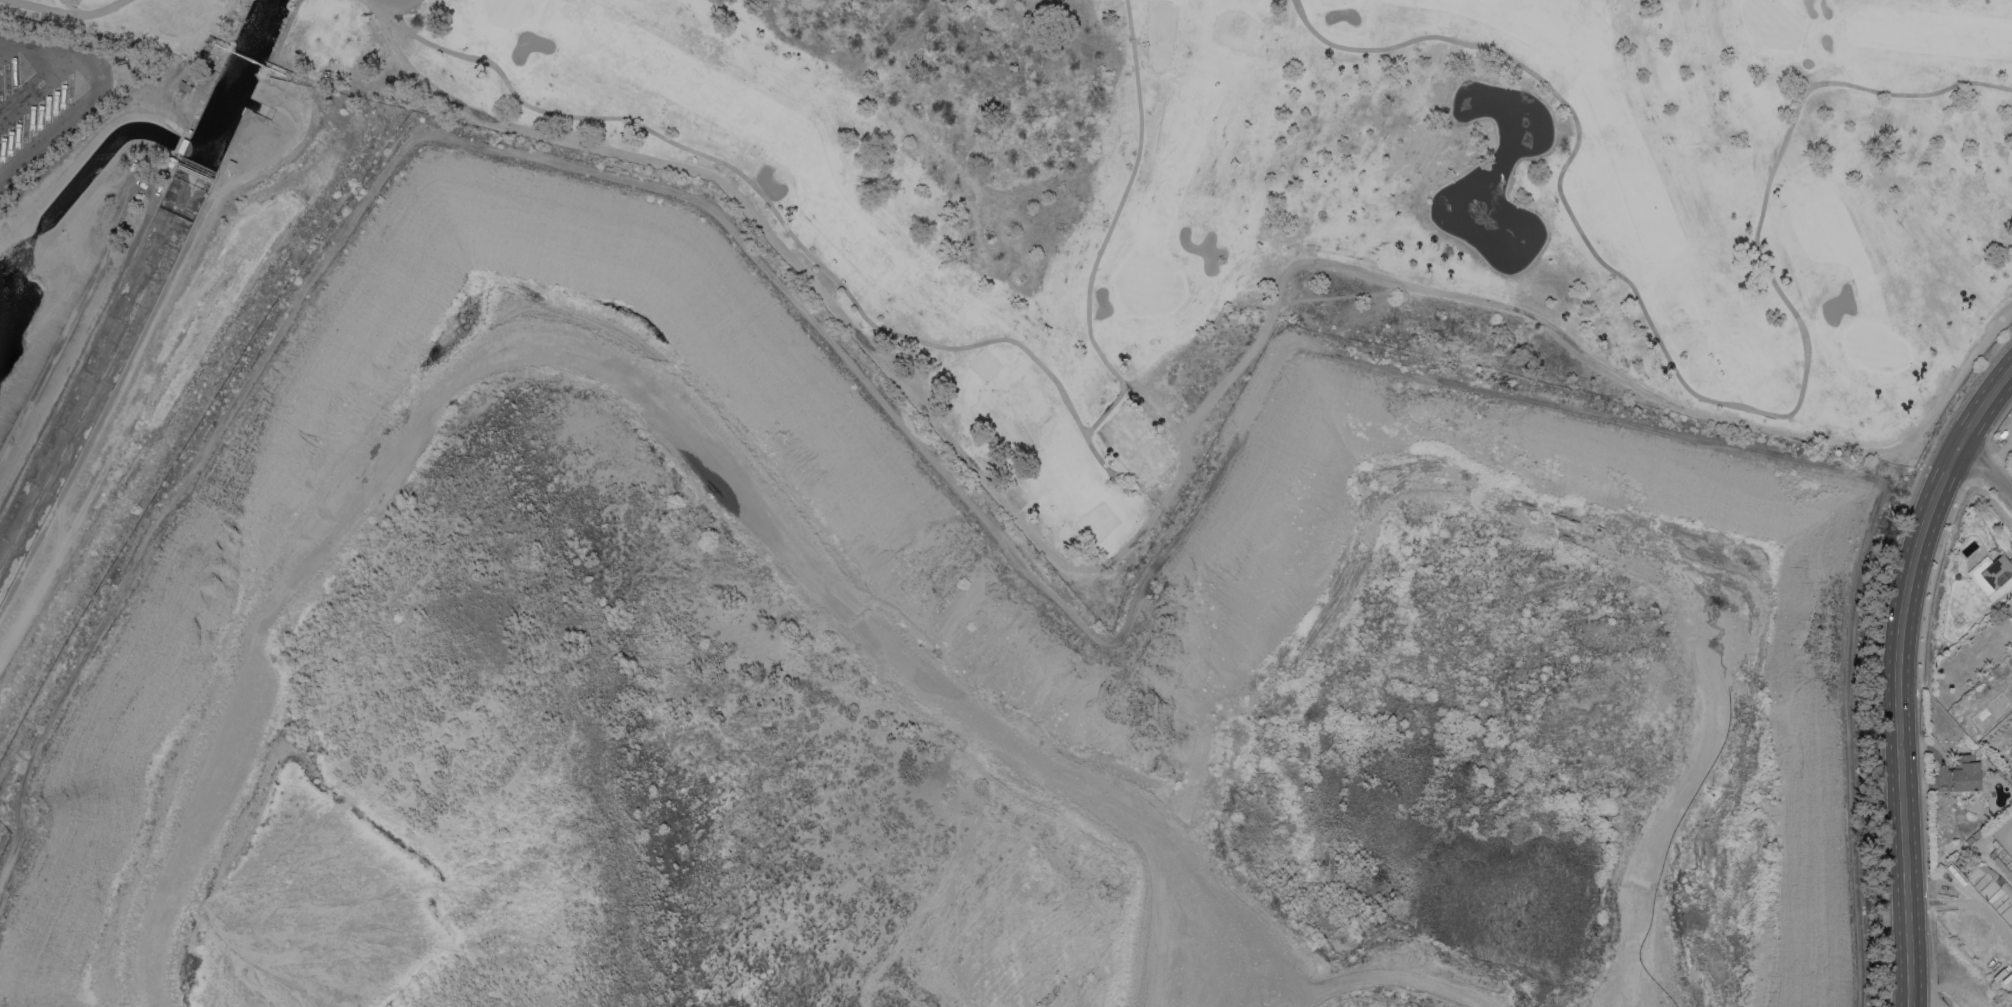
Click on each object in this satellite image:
road: (404, 1)
park: (1330, 1)
road: (72, 7)
park: (182, 11)
park: (508, 11)
road: (71, 13)
park: (1771, 23)
road: (7, 44)
building: (120, 57)
building: (121, 66)
building: (190, 79)
road: (36, 85)
building: (185, 86)
road: (93, 91)
building: (180, 94)
parking lot: (42, 95)
park: (1759, 116)
building: (184, 146)
building: (170, 161)
building: (229, 165)
road: (762, 194)
park: (1269, 195)
road: (1102, 244)
park: (1146, 283)
road: (69, 323)
road: (144, 330)
park: (1874, 346)
park: (1744, 369)
road: (1695, 395)
road: (640, 396)
park: (1023, 401)
road: (902, 421)
road: (1084, 434)
park: (1132, 443)
road: (1985, 473)
road: (1124, 484)
park: (1090, 502)
road: (1122, 549)
building: (1997, 571)
building: (2011, 612)
quarry: (916, 669)
road: (1896, 673)
building: (1964, 773)
building: (2001, 883)
road: (1389, 959)
road: (1936, 985)
building: (2006, 1005)

